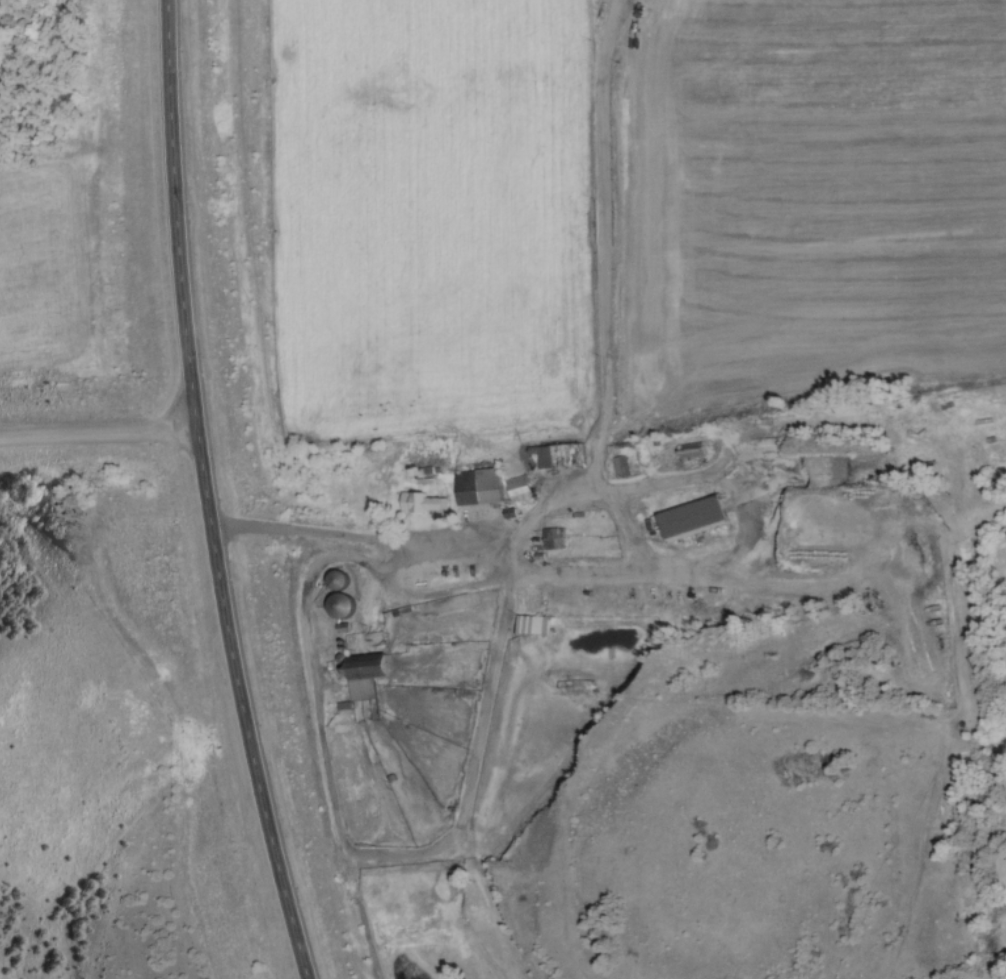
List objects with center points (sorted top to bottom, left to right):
road: (98, 431)
building: (557, 455)
building: (474, 486)
building: (516, 488)
road: (205, 494)
building: (413, 502)
building: (687, 517)
road: (350, 536)
building: (552, 538)
building: (332, 580)
building: (334, 605)
building: (361, 676)
building: (573, 685)

